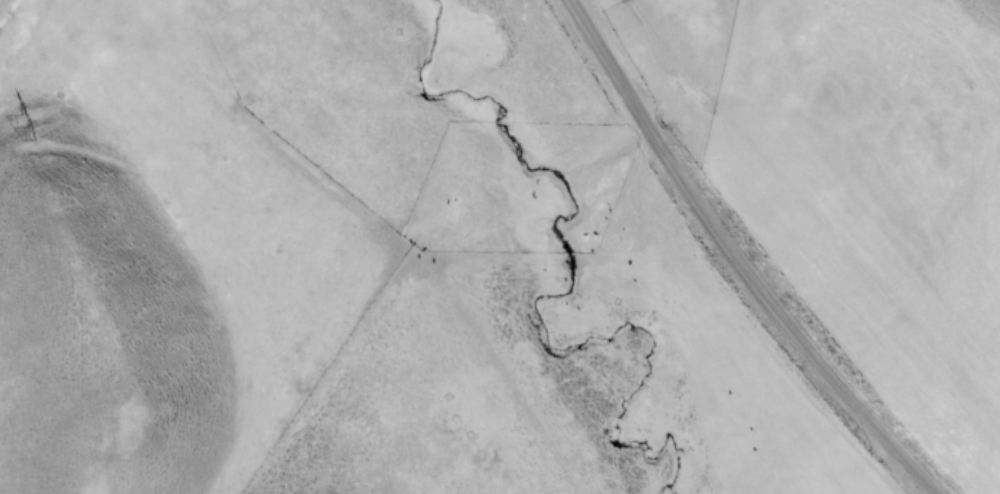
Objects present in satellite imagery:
road: (2, 3)
power tower: (28, 128)
road: (735, 260)

